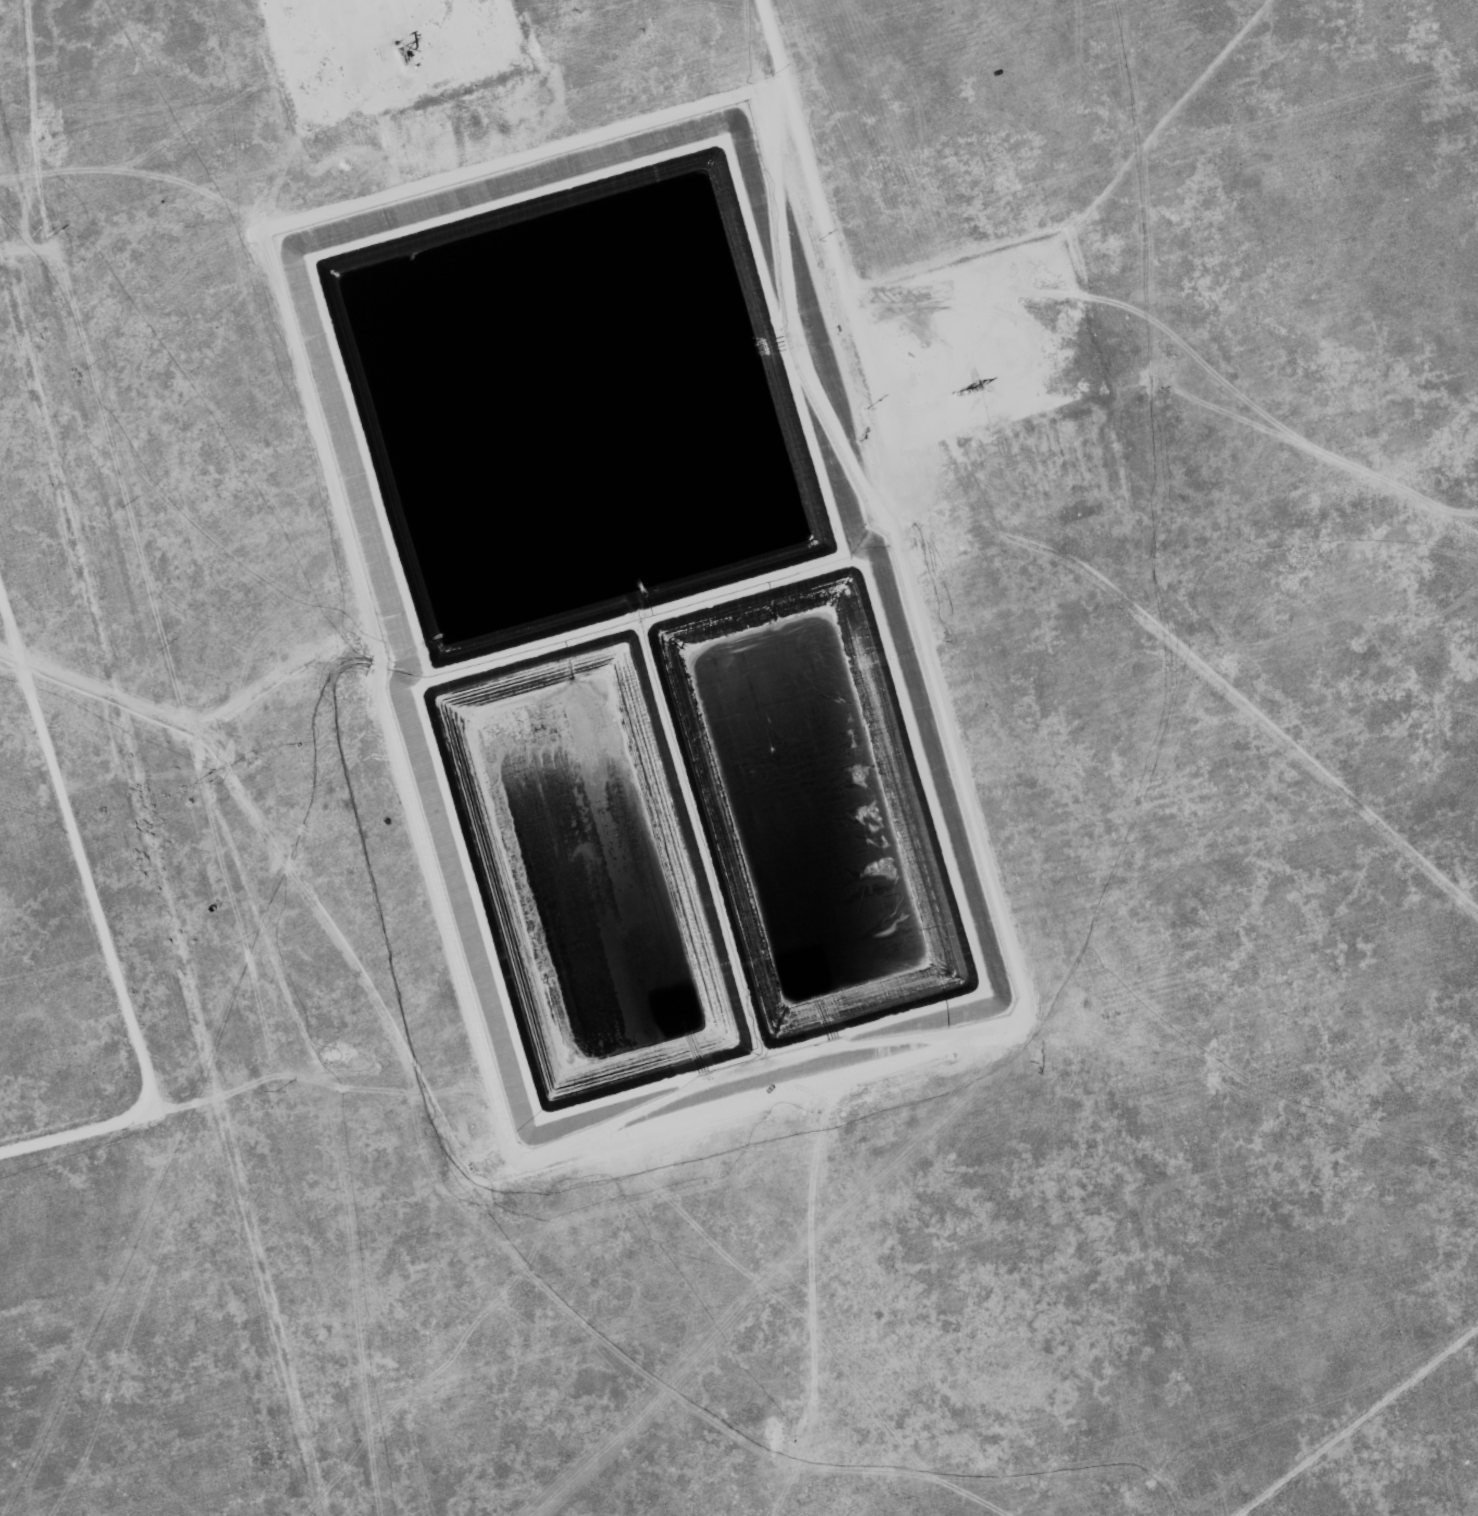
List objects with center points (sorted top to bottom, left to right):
river: (1460, 1310)

